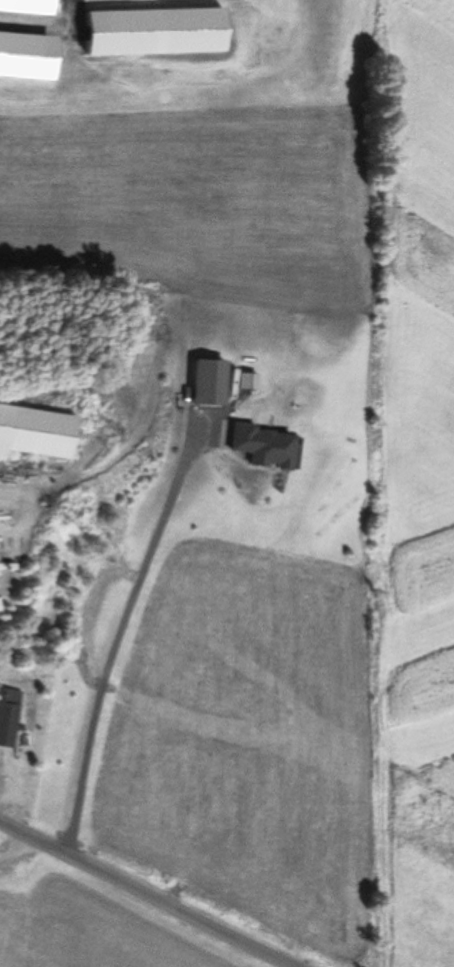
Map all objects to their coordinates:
building: (151, 31)
building: (25, 55)
building: (211, 383)
building: (35, 433)
building: (268, 447)
building: (9, 718)
road: (17, 850)
road: (148, 891)

